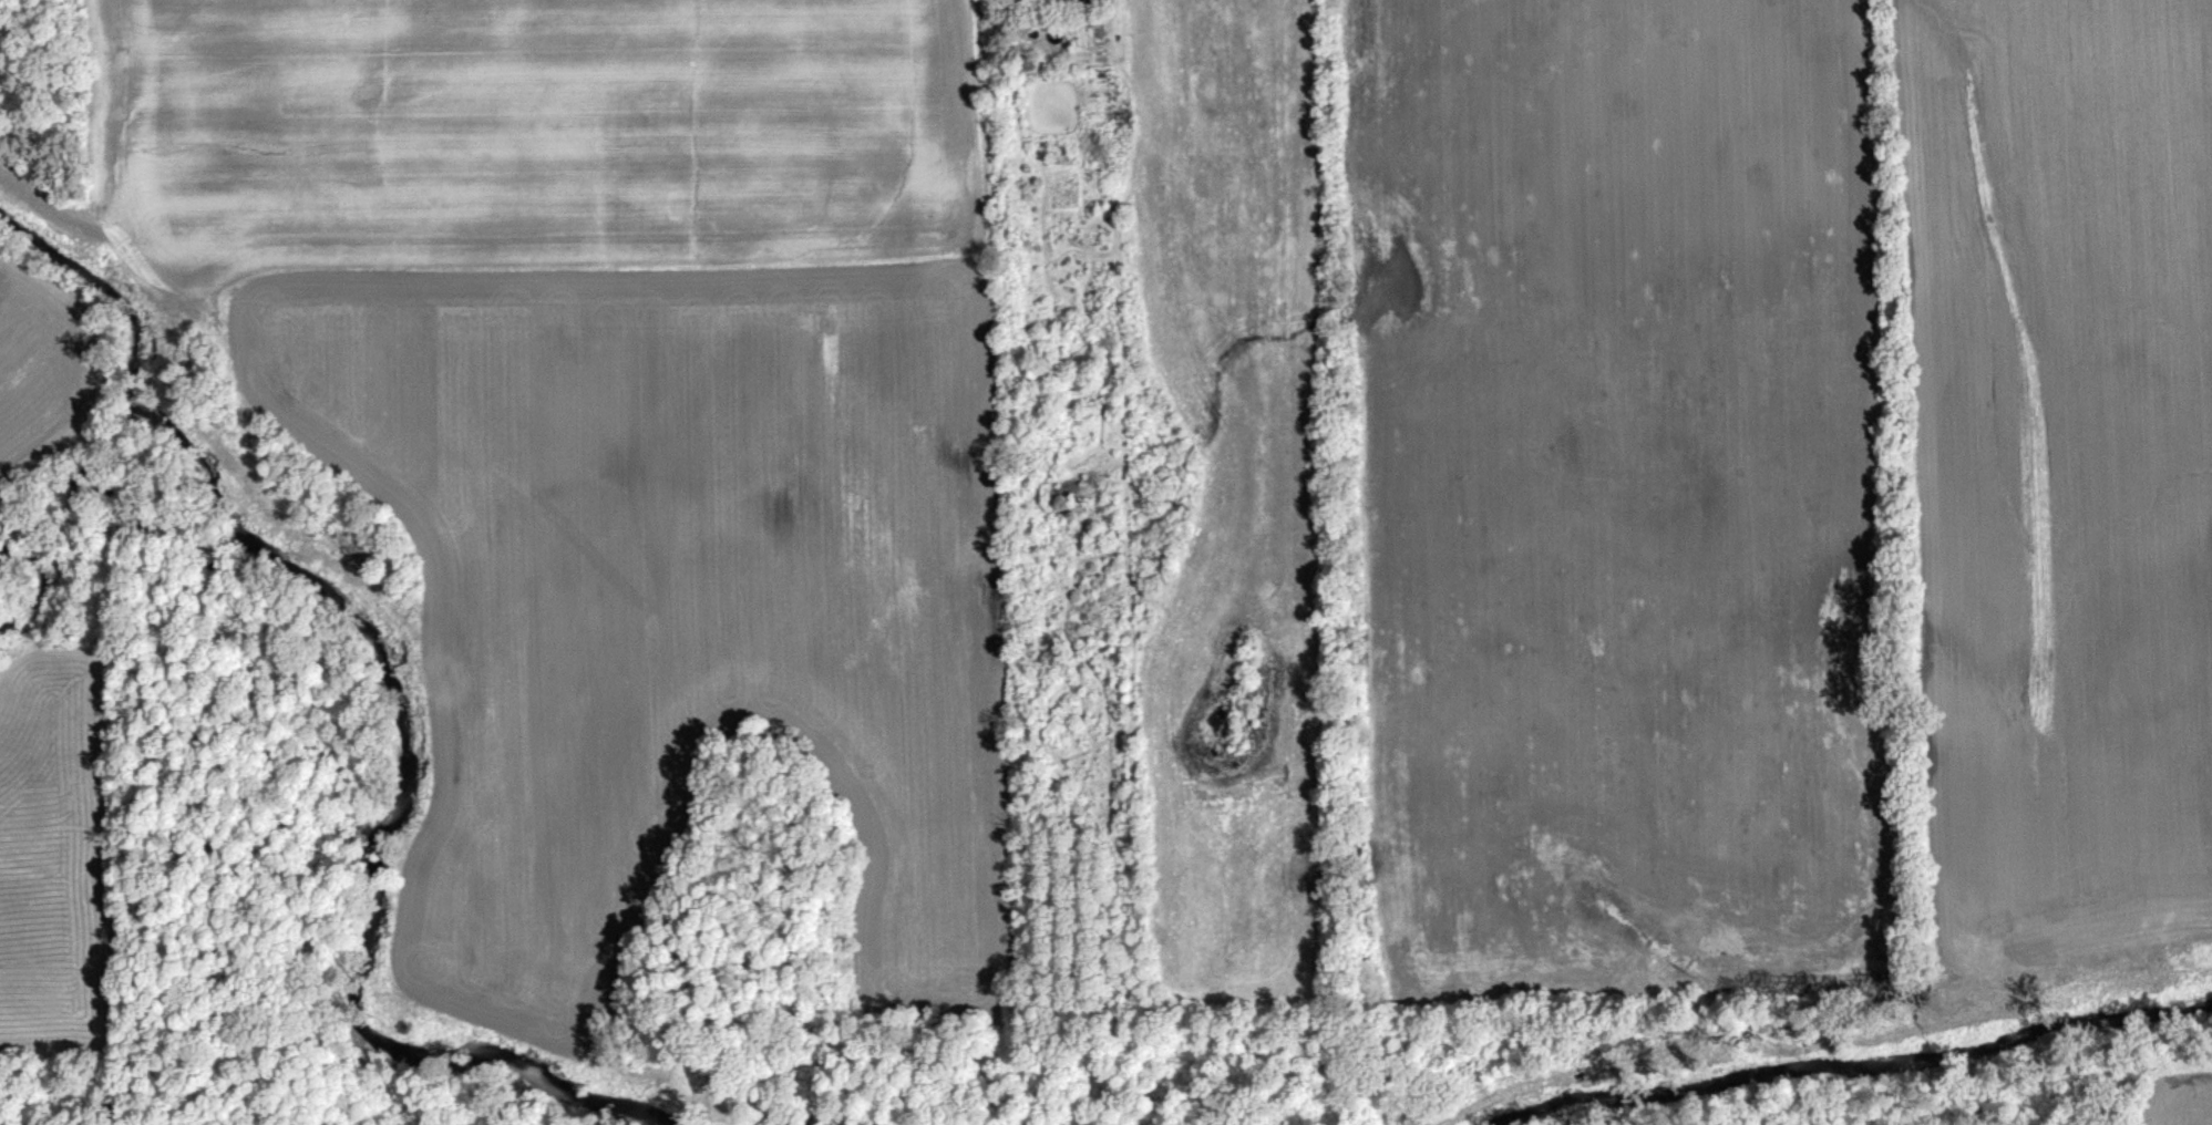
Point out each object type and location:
building: (1025, 63)

